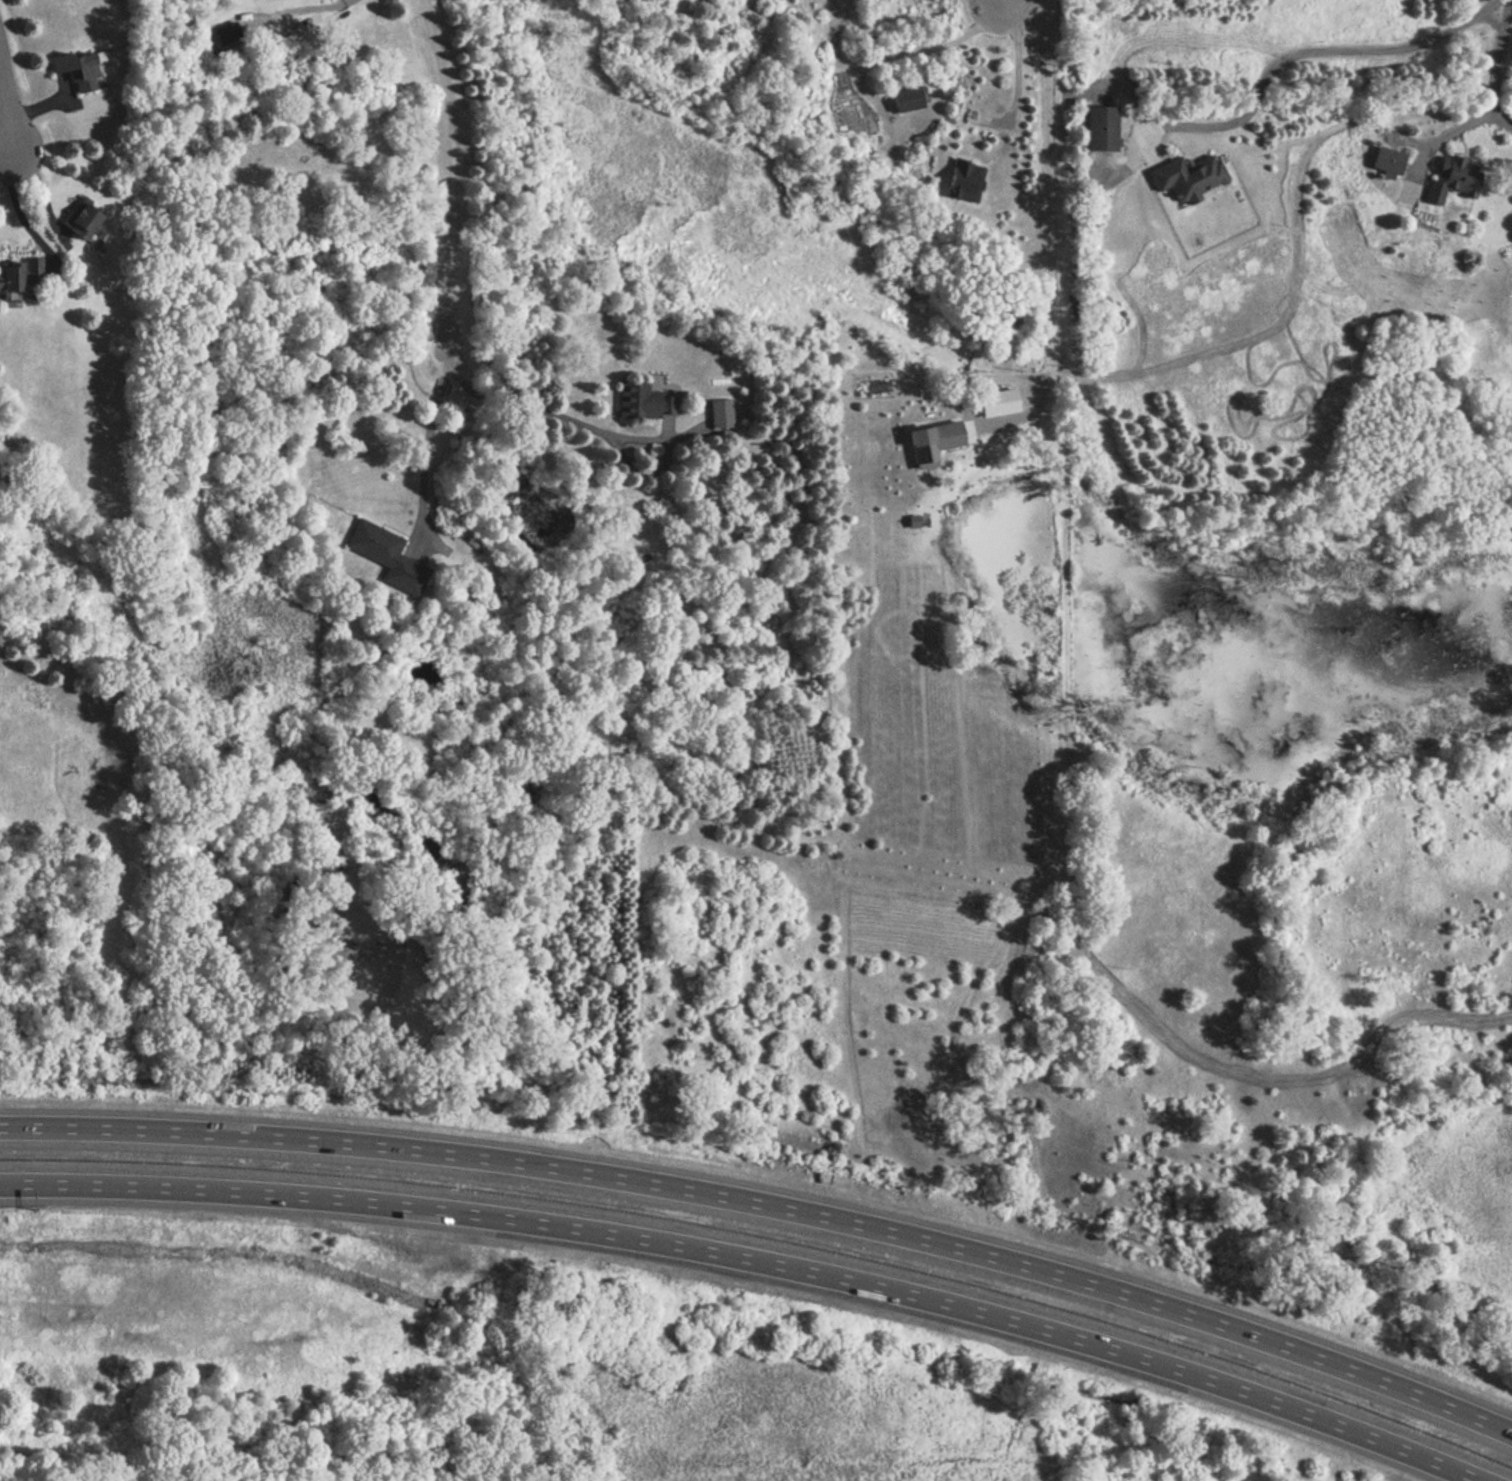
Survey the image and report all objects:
road: (1006, 0)
road: (927, 42)
road: (1021, 55)
road: (1333, 59)
building: (77, 68)
road: (1503, 83)
road: (9, 88)
building: (909, 99)
building: (1103, 129)
road: (1449, 135)
road: (5, 145)
building: (1384, 161)
road: (452, 175)
building: (1188, 175)
building: (1450, 178)
building: (962, 181)
road: (39, 190)
road: (16, 206)
building: (80, 218)
road: (1050, 237)
building: (10, 274)
building: (637, 400)
road: (549, 413)
building: (719, 413)
road: (429, 444)
building: (383, 555)
road: (771, 1201)
road: (748, 1263)

